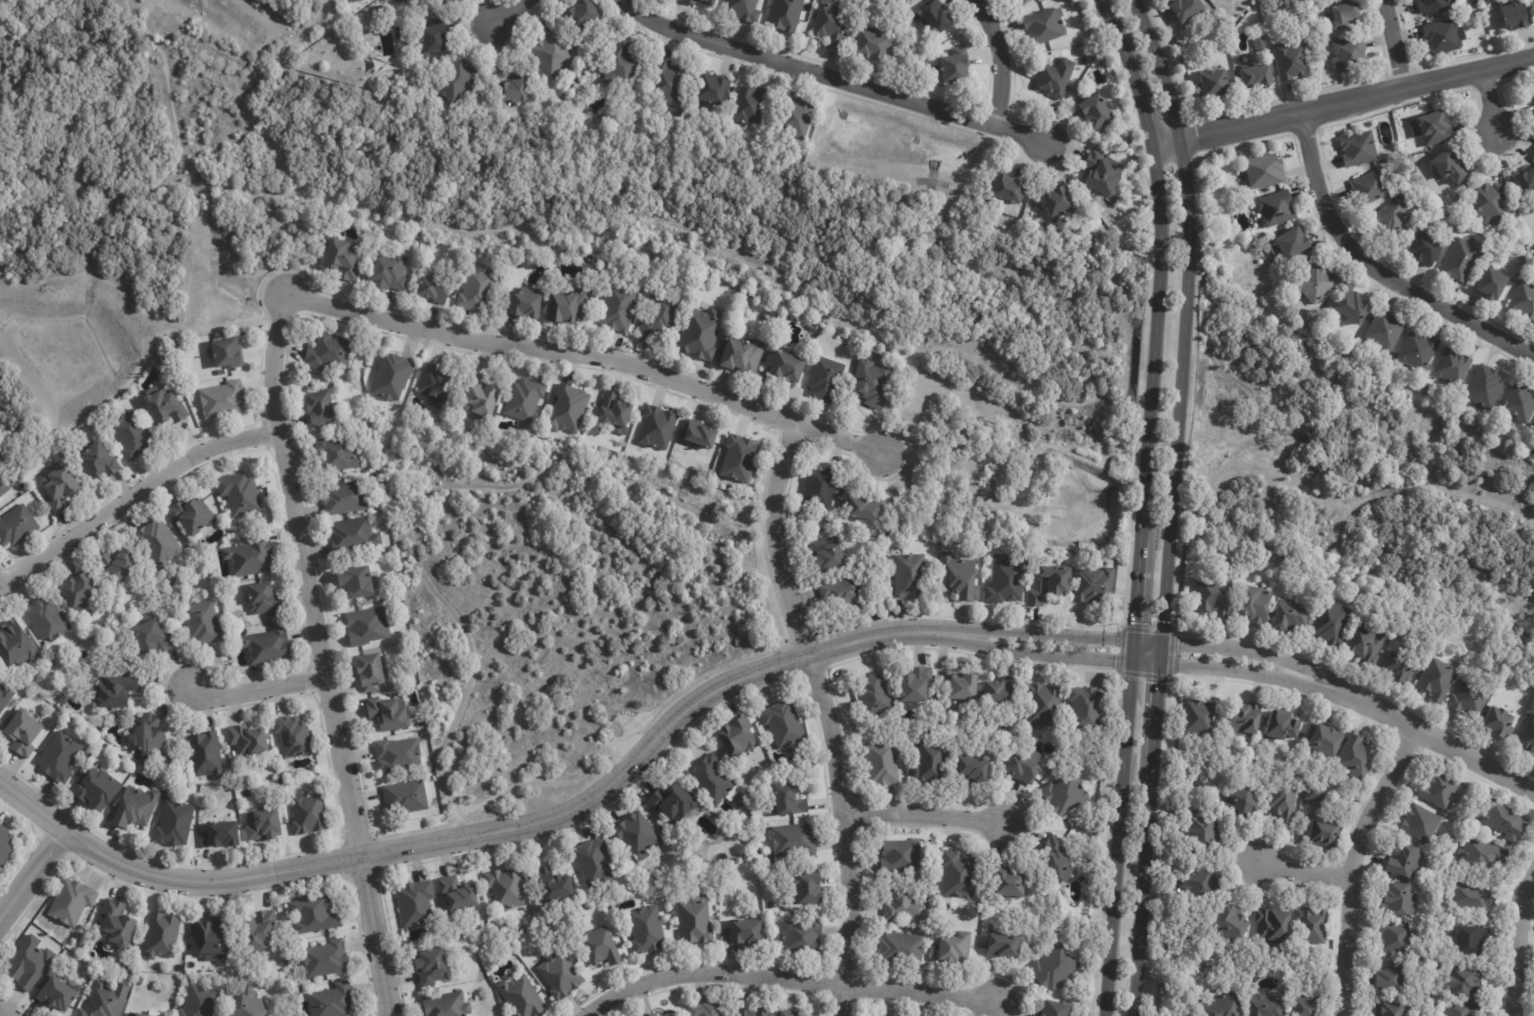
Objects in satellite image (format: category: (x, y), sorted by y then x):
building: (355, 0)
building: (455, 0)
building: (892, 0)
building: (445, 2)
building: (701, 2)
building: (1026, 2)
building: (1477, 2)
building: (1435, 6)
building: (1188, 9)
building: (382, 10)
building: (743, 10)
building: (1482, 13)
road: (497, 15)
building: (582, 15)
building: (785, 16)
building: (936, 16)
building: (1345, 17)
building: (1516, 17)
building: (834, 24)
building: (1045, 26)
building: (1445, 37)
building: (433, 40)
road: (1394, 43)
building: (1260, 45)
building: (872, 46)
building: (897, 51)
building: (553, 54)
building: (1351, 55)
road: (1000, 60)
building: (623, 62)
building: (1292, 62)
building: (955, 66)
building: (1258, 76)
building: (1056, 78)
road: (838, 79)
building: (456, 80)
building: (668, 82)
building: (1215, 84)
building: (513, 90)
building: (713, 90)
building: (1533, 91)
road: (1490, 99)
road: (1342, 100)
building: (750, 105)
building: (1095, 112)
building: (797, 118)
building: (1436, 128)
building: (1360, 150)
building: (1450, 167)
building: (1265, 171)
building: (1103, 175)
building: (1527, 182)
building: (1370, 188)
building: (1009, 190)
building: (1059, 203)
building: (1487, 203)
building: (1277, 209)
building: (1392, 220)
building: (1126, 228)
building: (1295, 242)
building: (1143, 248)
building: (1426, 249)
building: (1524, 253)
building: (342, 257)
building: (1461, 260)
road: (1375, 268)
building: (390, 272)
building: (1318, 284)
building: (1494, 285)
building: (434, 288)
building: (478, 288)
building: (1524, 300)
building: (523, 303)
building: (569, 305)
building: (619, 307)
building: (1353, 307)
building: (661, 314)
building: (1385, 331)
building: (700, 333)
building: (1419, 351)
building: (226, 352)
building: (329, 352)
building: (743, 354)
road: (594, 355)
building: (785, 365)
building: (1453, 367)
building: (221, 372)
building: (392, 376)
building: (826, 378)
building: (871, 383)
building: (436, 385)
building: (1427, 386)
building: (1485, 388)
building: (480, 395)
building: (223, 399)
building: (524, 399)
building: (1520, 404)
building: (164, 406)
building: (319, 407)
building: (569, 408)
building: (615, 412)
building: (658, 427)
building: (699, 433)
building: (132, 434)
road: (200, 446)
building: (337, 454)
building: (740, 458)
building: (96, 460)
building: (3, 487)
building: (58, 487)
building: (820, 488)
building: (240, 493)
building: (345, 497)
road: (426, 497)
road: (1142, 503)
road: (1170, 504)
building: (864, 508)
building: (193, 516)
building: (17, 525)
building: (881, 533)
building: (353, 535)
road: (66, 537)
building: (158, 541)
building: (827, 553)
building: (250, 556)
building: (116, 566)
building: (910, 575)
building: (960, 576)
building: (356, 581)
building: (1006, 581)
building: (1052, 583)
building: (1095, 584)
building: (79, 590)
building: (848, 591)
building: (1215, 594)
building: (264, 600)
building: (1257, 604)
building: (1292, 614)
building: (47, 619)
building: (203, 623)
building: (1333, 623)
building: (368, 626)
road: (1020, 629)
building: (151, 637)
traffic signals: (1133, 637)
traffic signals: (1161, 640)
building: (16, 644)
building: (1367, 645)
building: (267, 646)
road: (1263, 652)
road: (317, 656)
road: (1118, 660)
traffic signals: (1131, 661)
traffic signals: (1159, 663)
building: (1400, 667)
building: (369, 672)
building: (1438, 679)
building: (916, 683)
road: (254, 685)
building: (966, 687)
building: (113, 688)
building: (1002, 691)
building: (875, 695)
building: (5, 697)
building: (1470, 698)
building: (1042, 704)
building: (1087, 711)
road: (1388, 712)
building: (389, 714)
road: (823, 714)
building: (1201, 718)
building: (1244, 719)
building: (1, 722)
building: (1499, 722)
building: (784, 723)
building: (1281, 727)
building: (23, 734)
building: (147, 736)
building: (293, 736)
building: (1527, 737)
building: (739, 738)
building: (1326, 739)
building: (247, 740)
building: (397, 754)
building: (206, 755)
building: (59, 757)
building: (1358, 758)
road: (1477, 759)
building: (931, 762)
building: (883, 763)
building: (1023, 769)
building: (973, 772)
building: (181, 773)
building: (711, 780)
building: (96, 789)
building: (1440, 789)
building: (1066, 794)
building: (1316, 795)
building: (406, 796)
building: (1284, 800)
building: (672, 802)
building: (788, 802)
building: (1243, 804)
building: (133, 808)
building: (308, 813)
road: (922, 818)
building: (1507, 822)
building: (174, 824)
building: (1421, 824)
building: (263, 825)
building: (1205, 832)
building: (1324, 832)
building: (221, 835)
building: (637, 835)
road: (453, 839)
building: (795, 840)
building: (5, 846)
building: (900, 855)
building: (1483, 855)
building: (1056, 858)
building: (1405, 861)
building: (595, 863)
road: (1353, 864)
road: (1302, 871)
building: (959, 874)
road: (34, 875)
building: (554, 885)
building: (1009, 885)
building: (1203, 885)
building: (506, 888)
building: (809, 889)
building: (458, 895)
building: (1475, 899)
building: (72, 900)
building: (1400, 901)
building: (415, 903)
building: (905, 905)
building: (980, 906)
building: (988, 907)
building: (673, 913)
building: (313, 914)
building: (696, 921)
building: (117, 922)
building: (933, 925)
building: (1231, 925)
building: (1274, 925)
building: (1312, 925)
building: (646, 930)
building: (261, 932)
building: (744, 933)
building: (162, 934)
building: (212, 937)
building: (802, 937)
building: (1399, 938)
building: (1472, 941)
building: (1003, 945)
road: (1520, 946)
building: (601, 948)
building: (905, 948)
building: (956, 949)
building: (325, 959)
building: (30, 962)
building: (125, 966)
building: (431, 968)
building: (1054, 969)
building: (131, 972)
road: (789, 973)
building: (560, 977)
building: (1392, 978)
building: (1466, 980)
building: (299, 988)
building: (58, 994)
building: (522, 997)
building: (106, 1000)
building: (332, 1000)
building: (199, 1001)
building: (249, 1004)
building: (446, 1005)
building: (1306, 1005)
building: (1223, 1006)
building: (1267, 1006)
building: (1463, 1008)
building: (1056, 1009)
building: (1393, 1009)
road: (7, 1010)
building: (707, 1010)
building: (754, 1012)
building: (790, 1013)
building: (140, 1014)
building: (1187, 1014)
building: (650, 1015)
building: (654, 1015)
building: (670, 1015)

